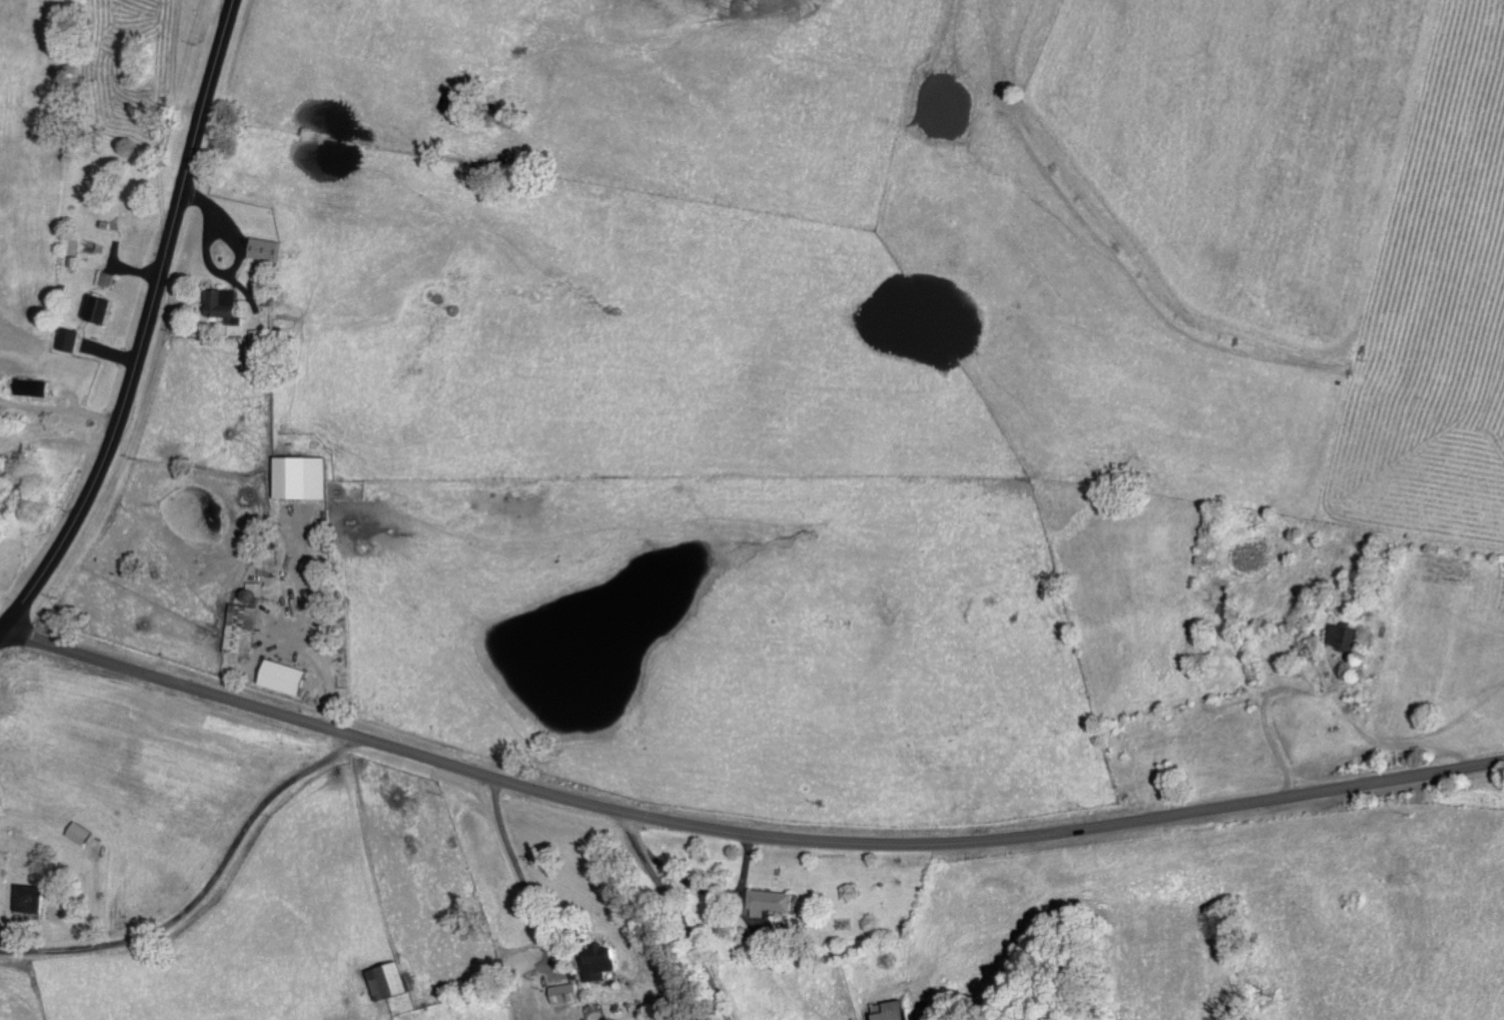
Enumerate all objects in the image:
building: (263, 248)
building: (107, 278)
building: (219, 301)
building: (103, 307)
road: (145, 327)
building: (69, 338)
building: (258, 351)
building: (37, 386)
building: (299, 476)
building: (240, 628)
building: (1341, 635)
building: (279, 676)
road: (742, 832)
building: (81, 833)
road: (204, 882)
building: (36, 897)
road: (502, 897)
building: (770, 901)
road: (679, 915)
building: (596, 961)
building: (384, 980)
building: (562, 992)
building: (887, 1011)

